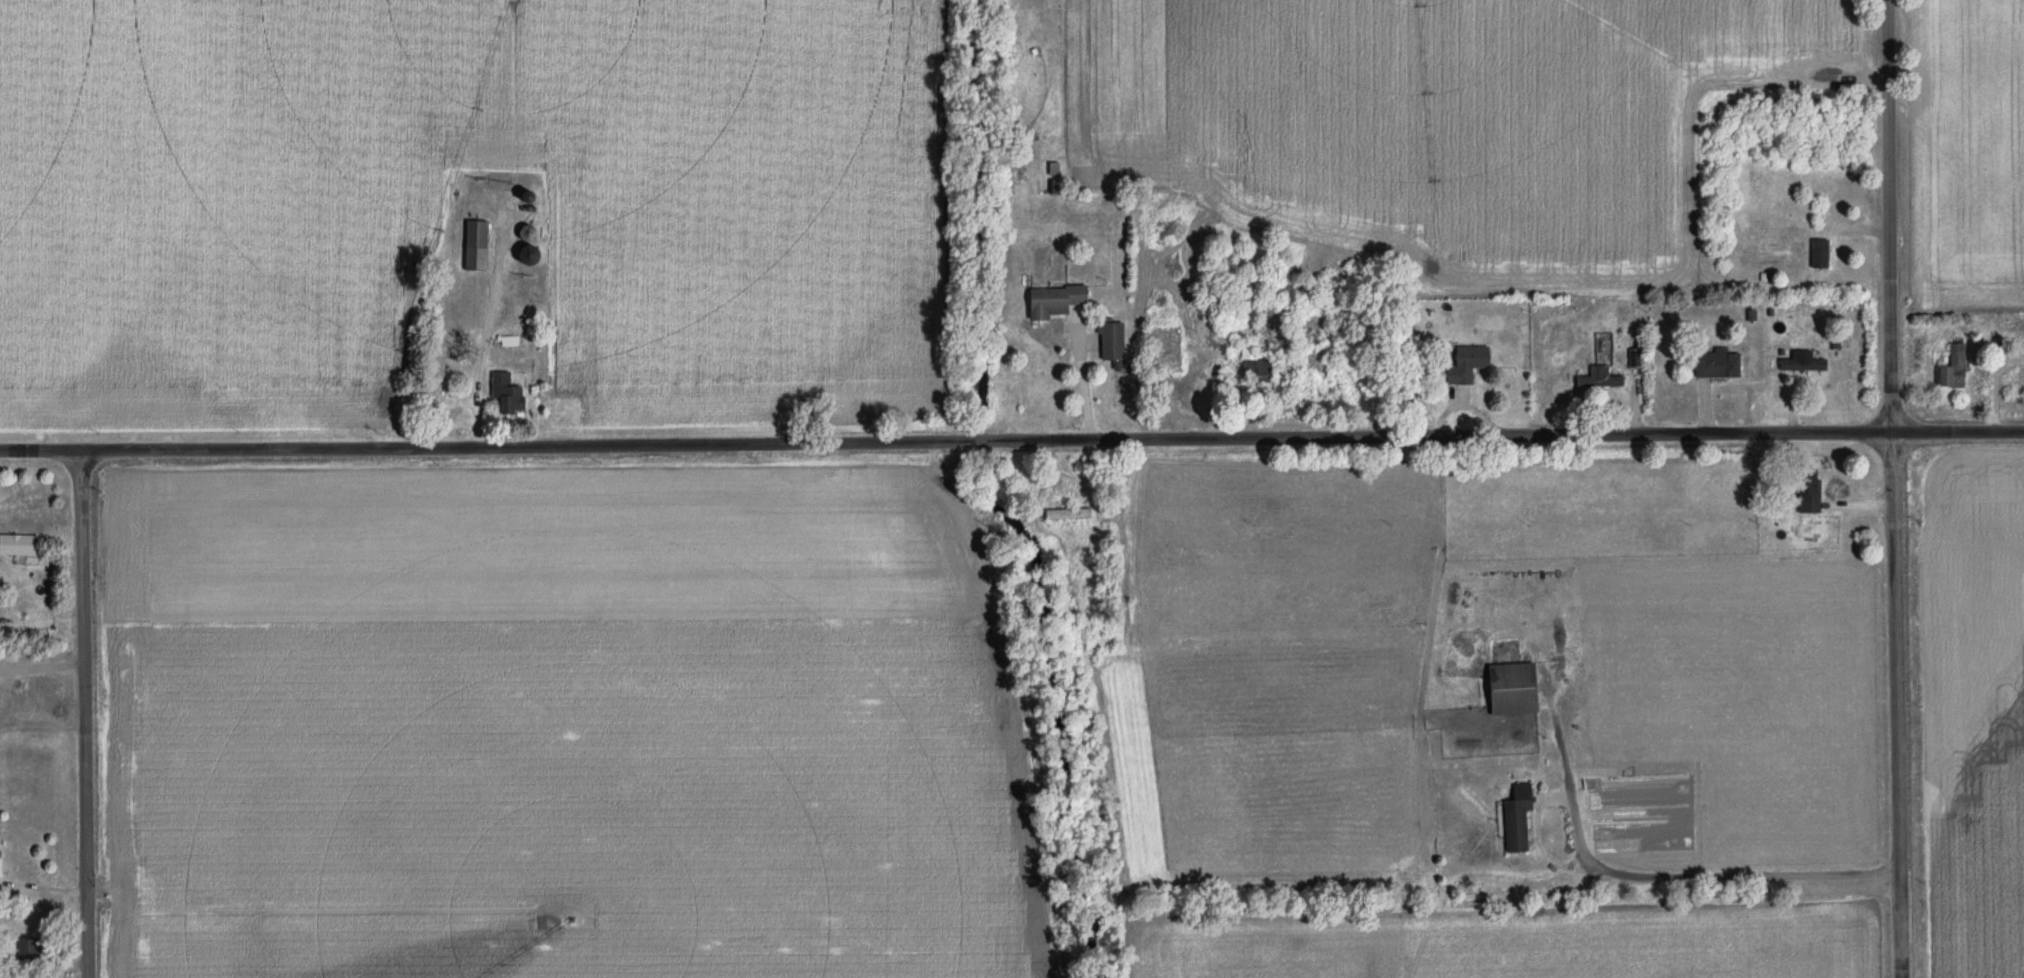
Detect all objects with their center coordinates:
building: (473, 247)
building: (1817, 255)
building: (1050, 301)
building: (1109, 344)
building: (1160, 359)
building: (1632, 361)
building: (1800, 364)
building: (1251, 365)
building: (1464, 365)
building: (1715, 365)
building: (1950, 369)
building: (1602, 375)
road: (1081, 382)
building: (504, 396)
road: (1012, 444)
road: (1891, 489)
building: (1805, 492)
building: (1065, 515)
building: (17, 546)
building: (1508, 691)
road: (89, 715)
road: (1569, 797)
building: (1514, 821)
road: (1622, 872)
building: (25, 952)

